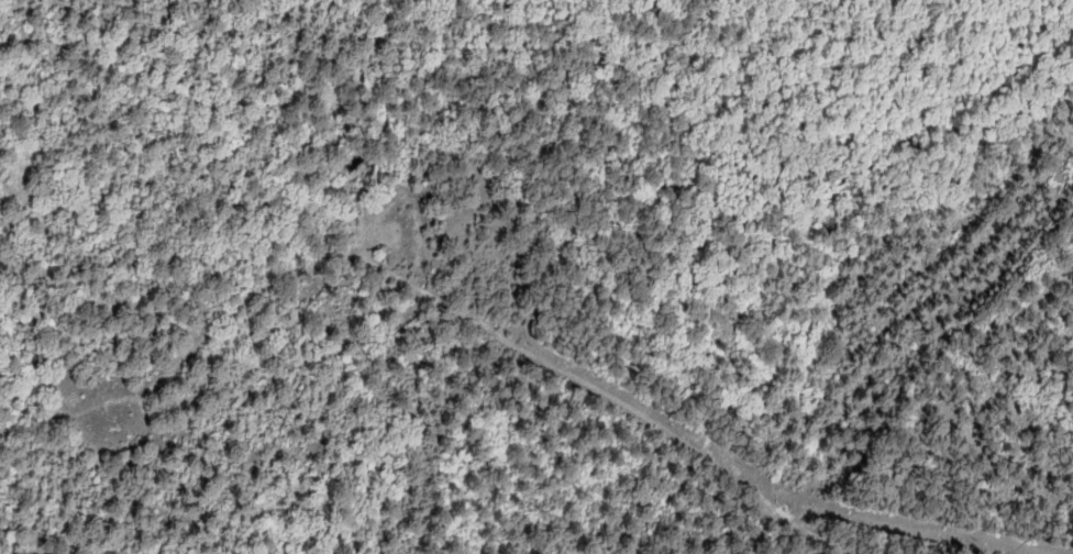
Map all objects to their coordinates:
road: (132, 155)
road: (405, 282)
road: (822, 539)

